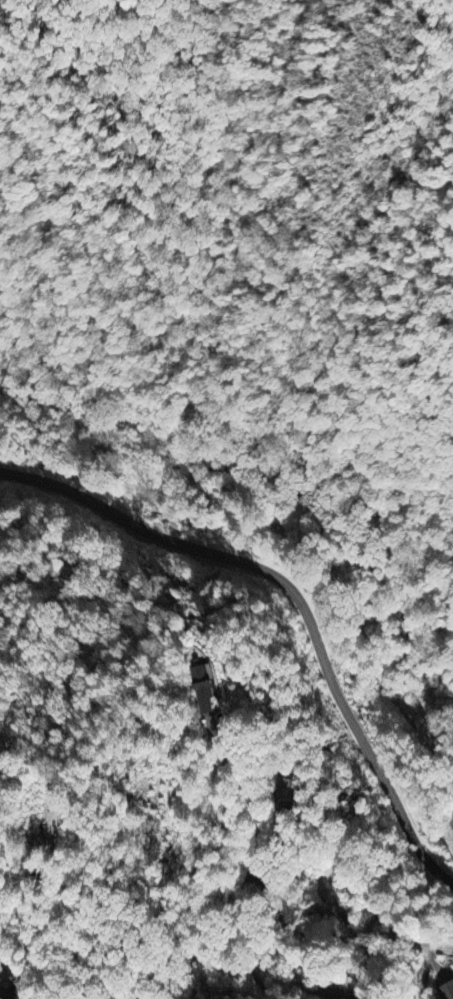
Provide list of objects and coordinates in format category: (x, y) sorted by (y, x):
road: (286, 569)
building: (204, 690)
building: (290, 788)
road: (277, 898)
road: (23, 908)
building: (448, 990)

